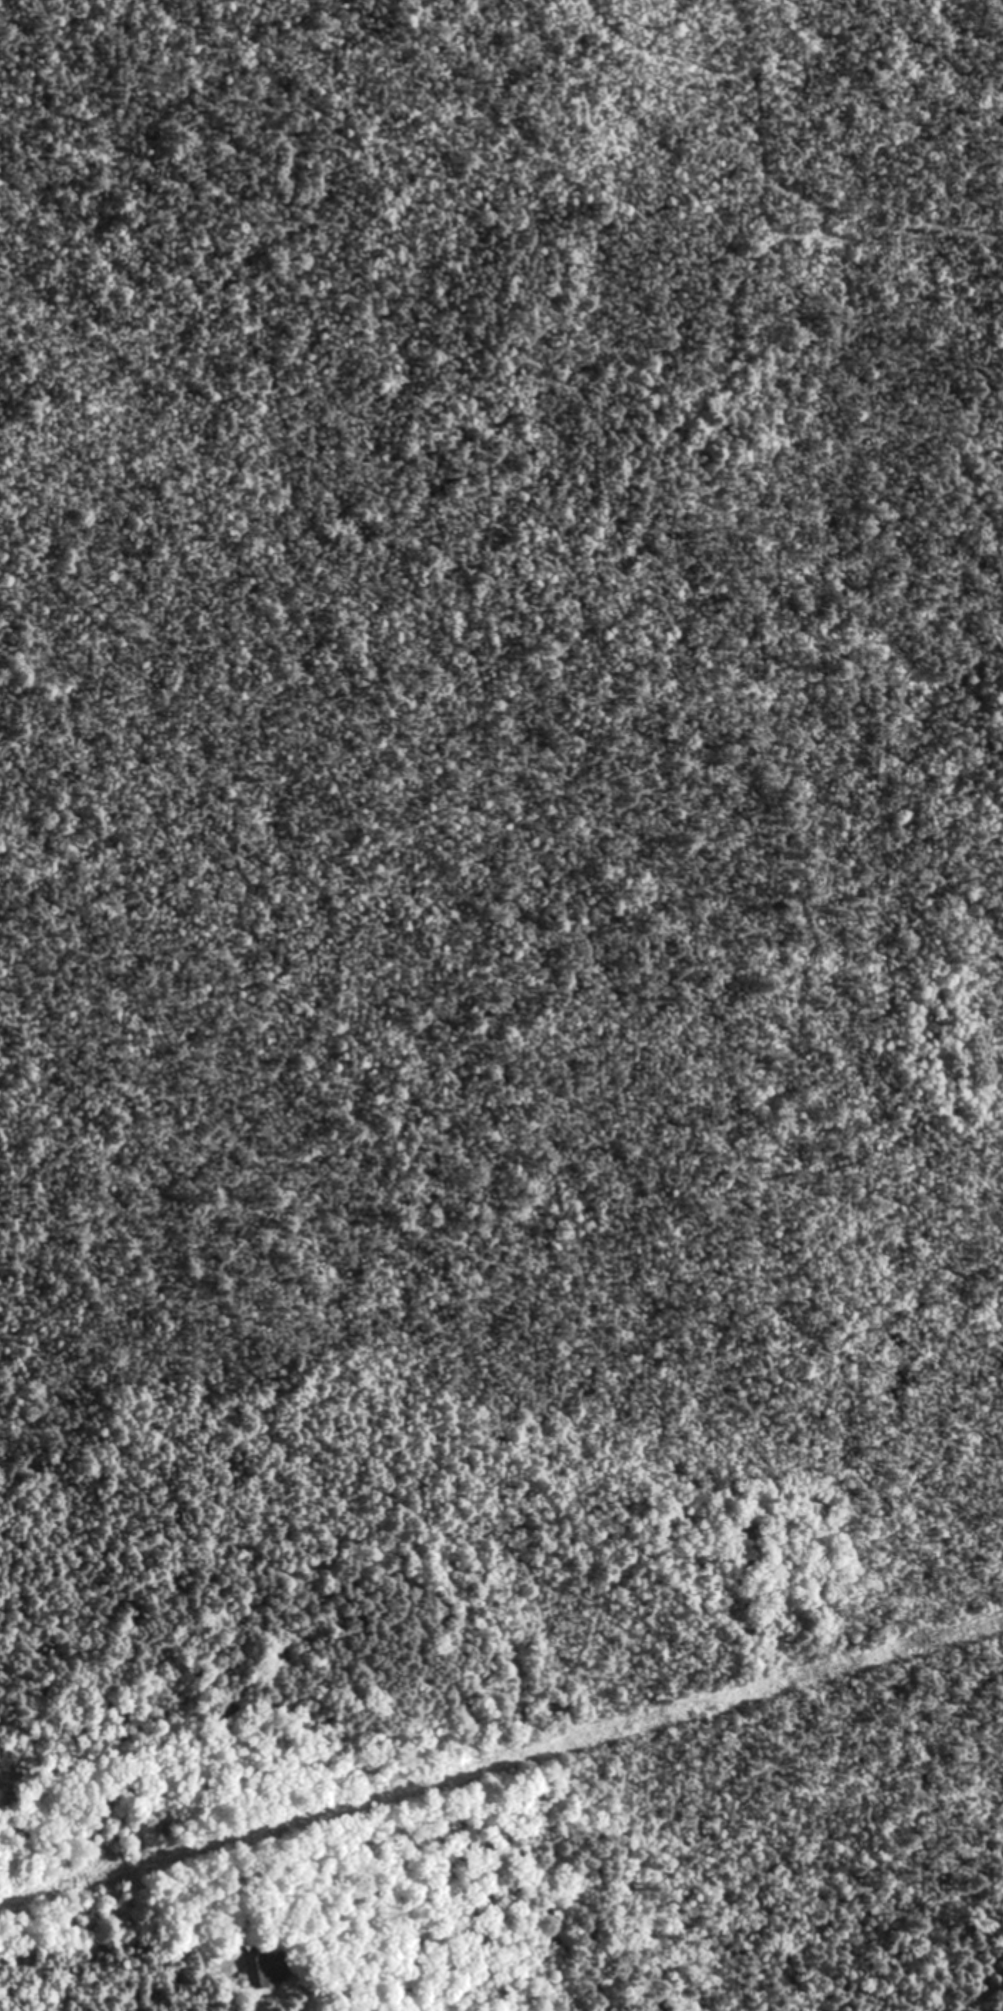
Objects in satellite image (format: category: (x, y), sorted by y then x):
building: (260, 1968)
road: (240, 2010)

